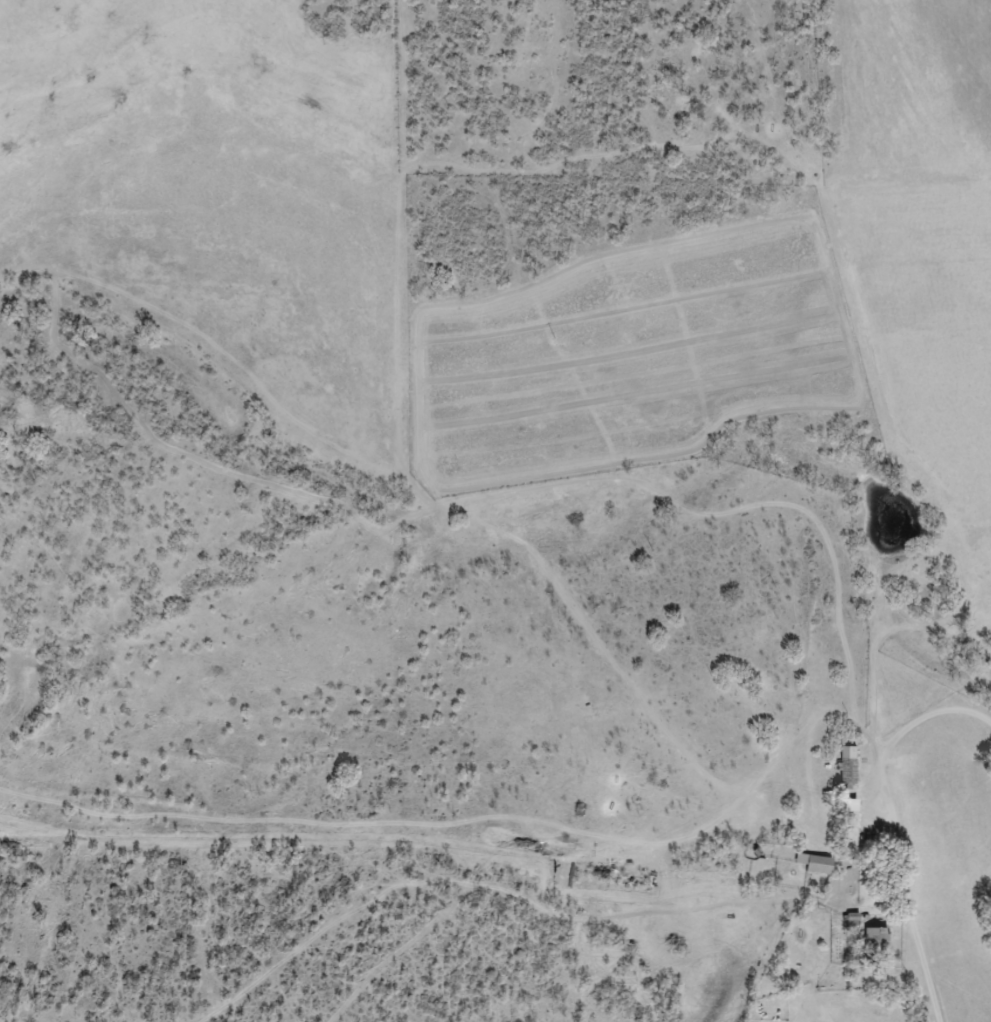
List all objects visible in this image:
building: (850, 767)
road: (888, 792)
building: (816, 863)
building: (877, 940)

